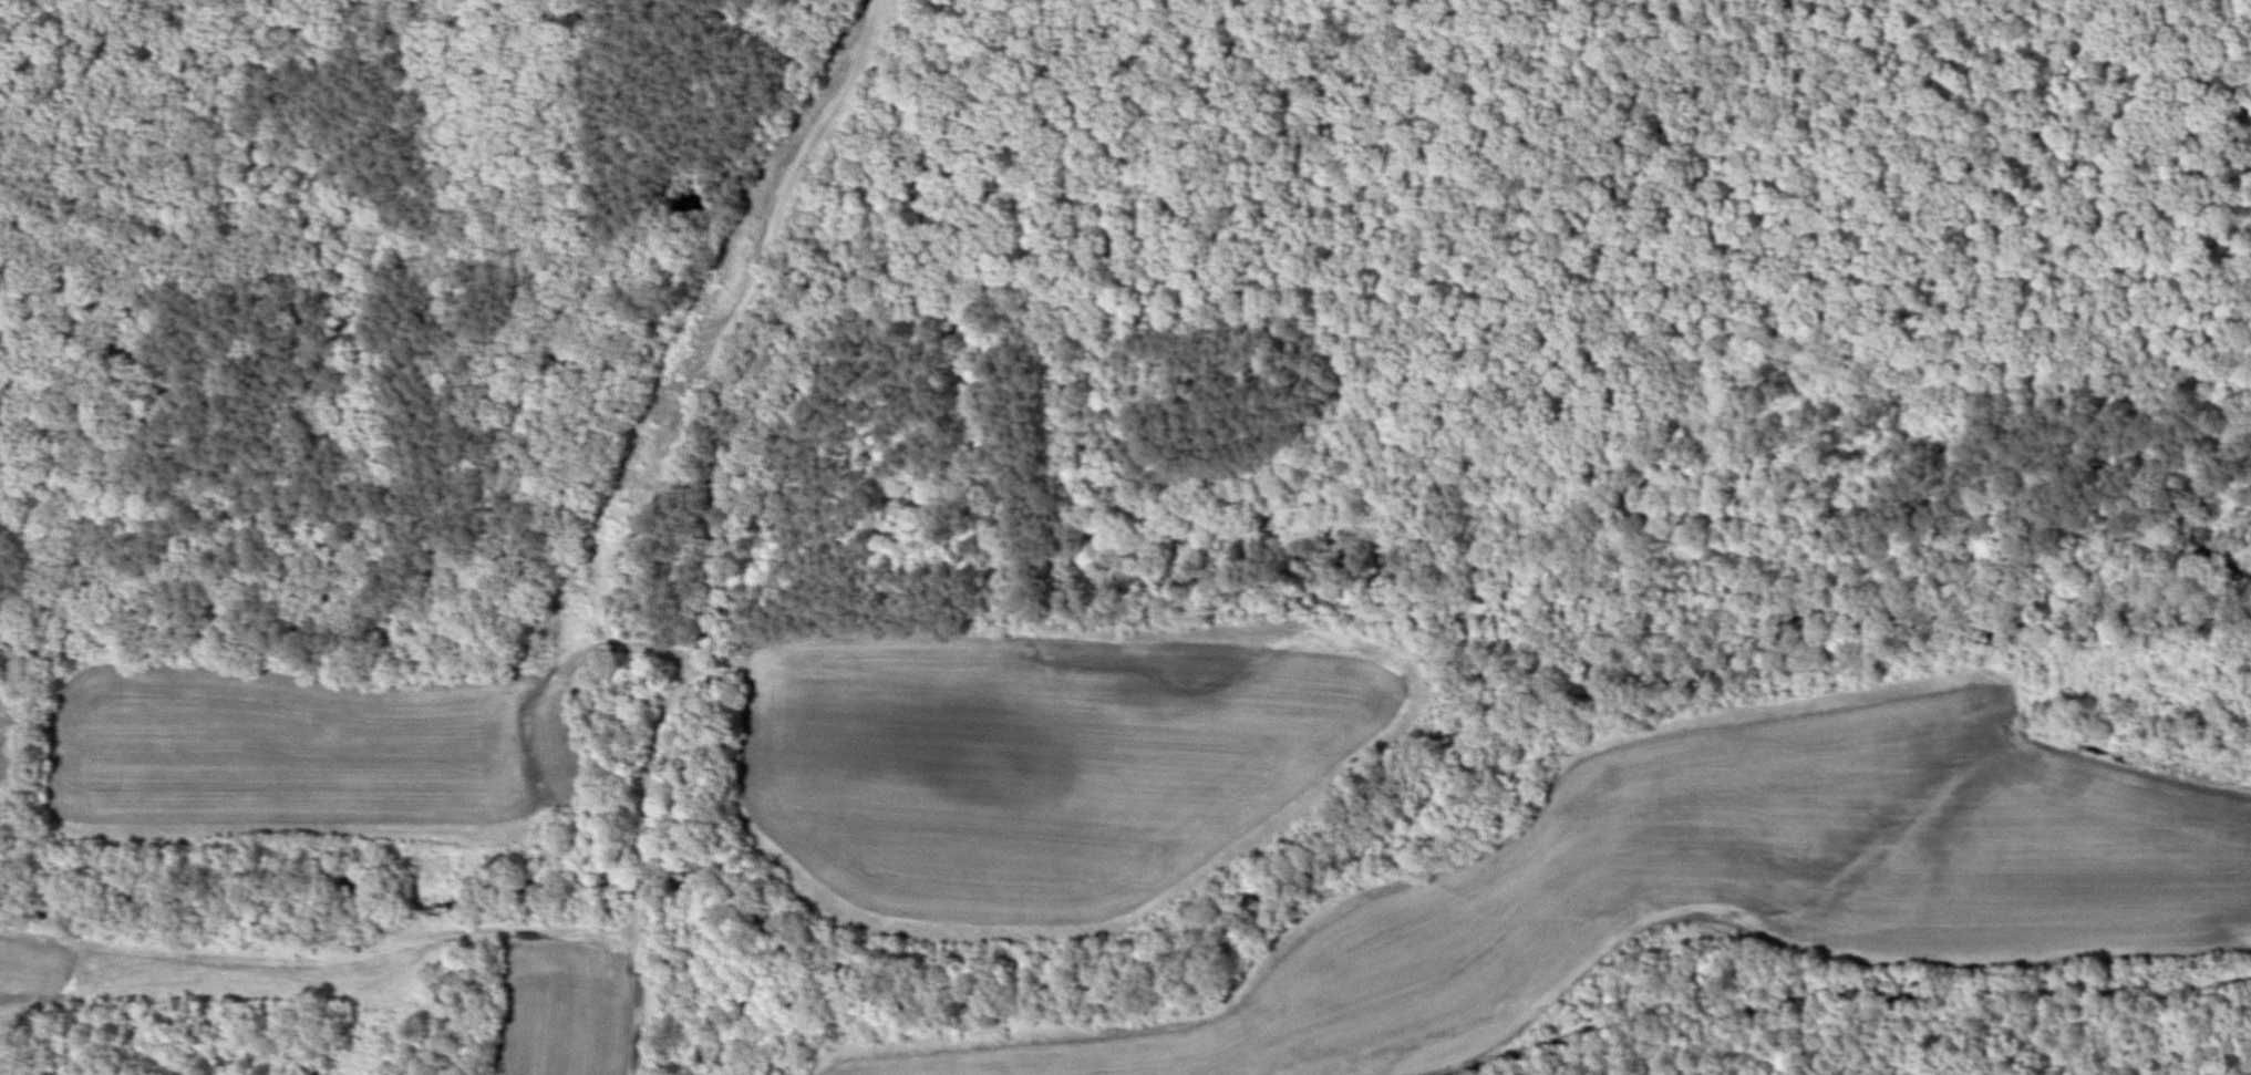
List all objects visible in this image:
road: (717, 525)
road: (1846, 989)

